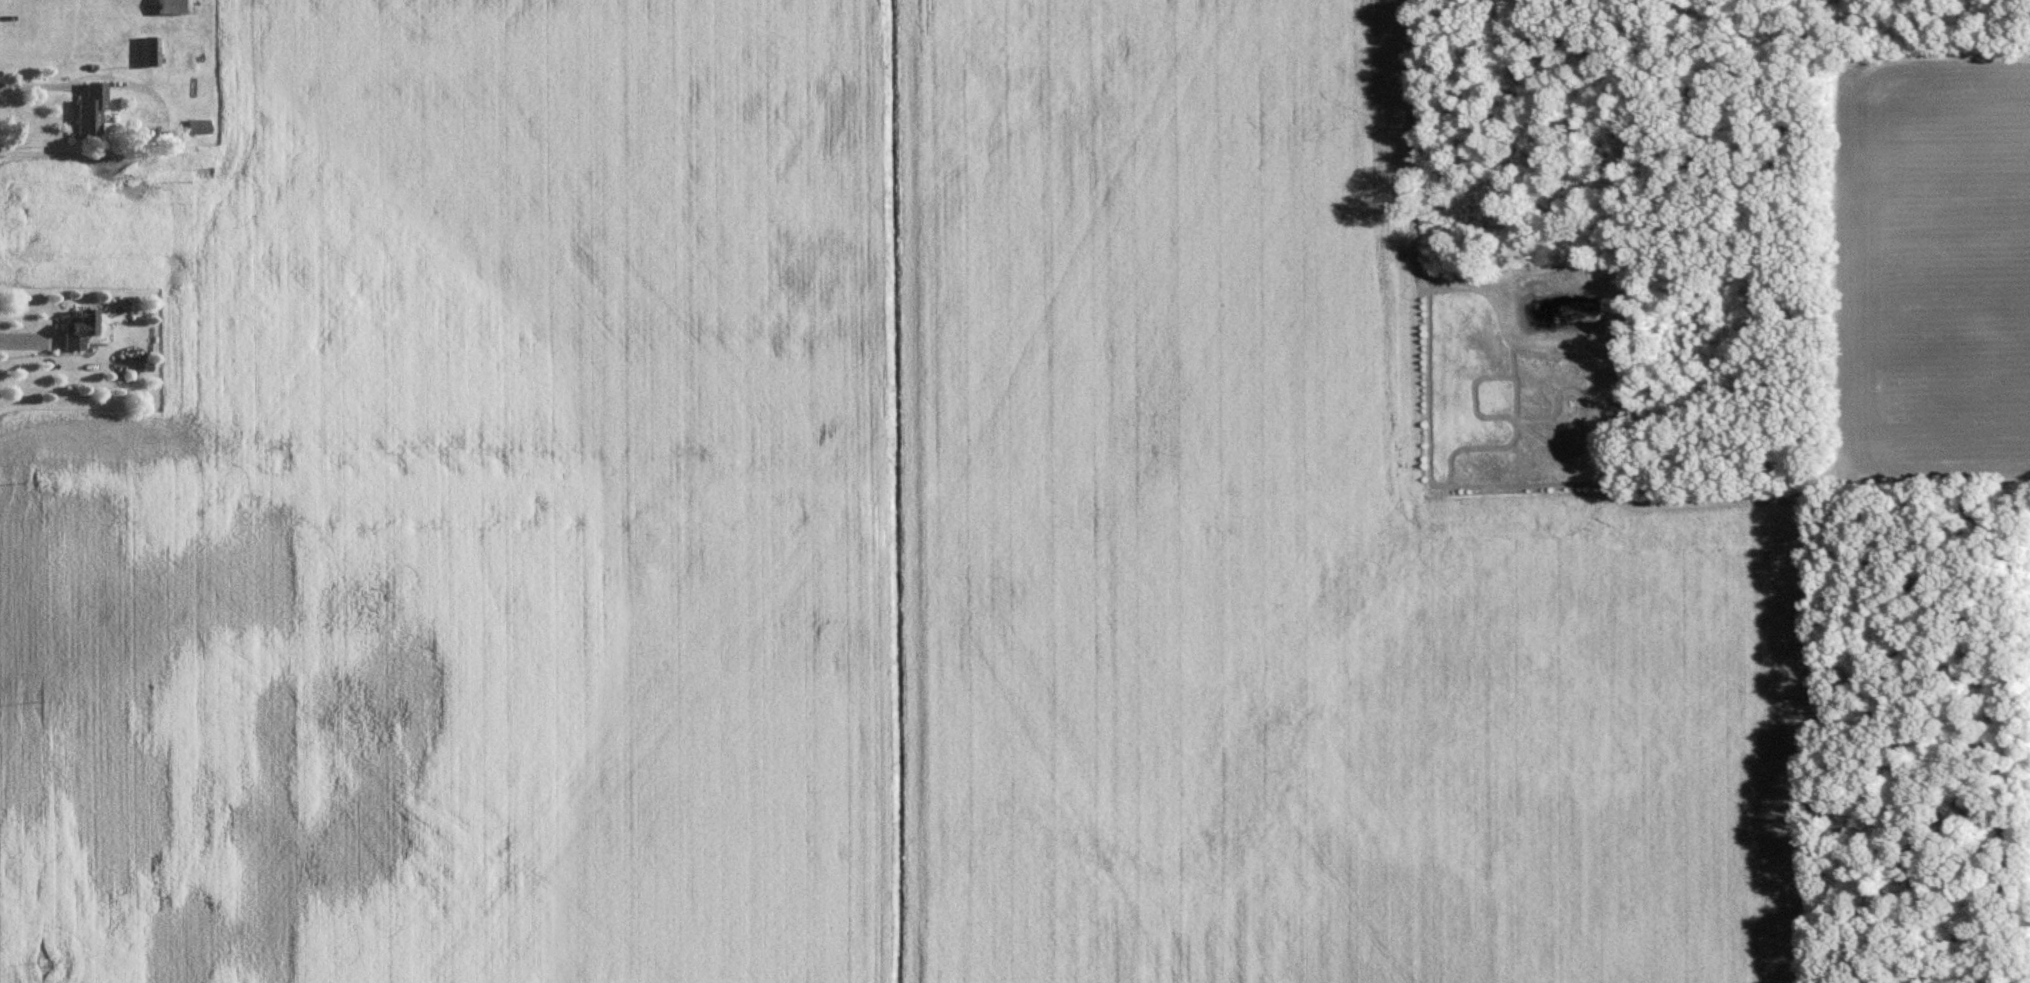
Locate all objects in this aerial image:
building: (172, 6)
building: (87, 110)
building: (75, 327)

